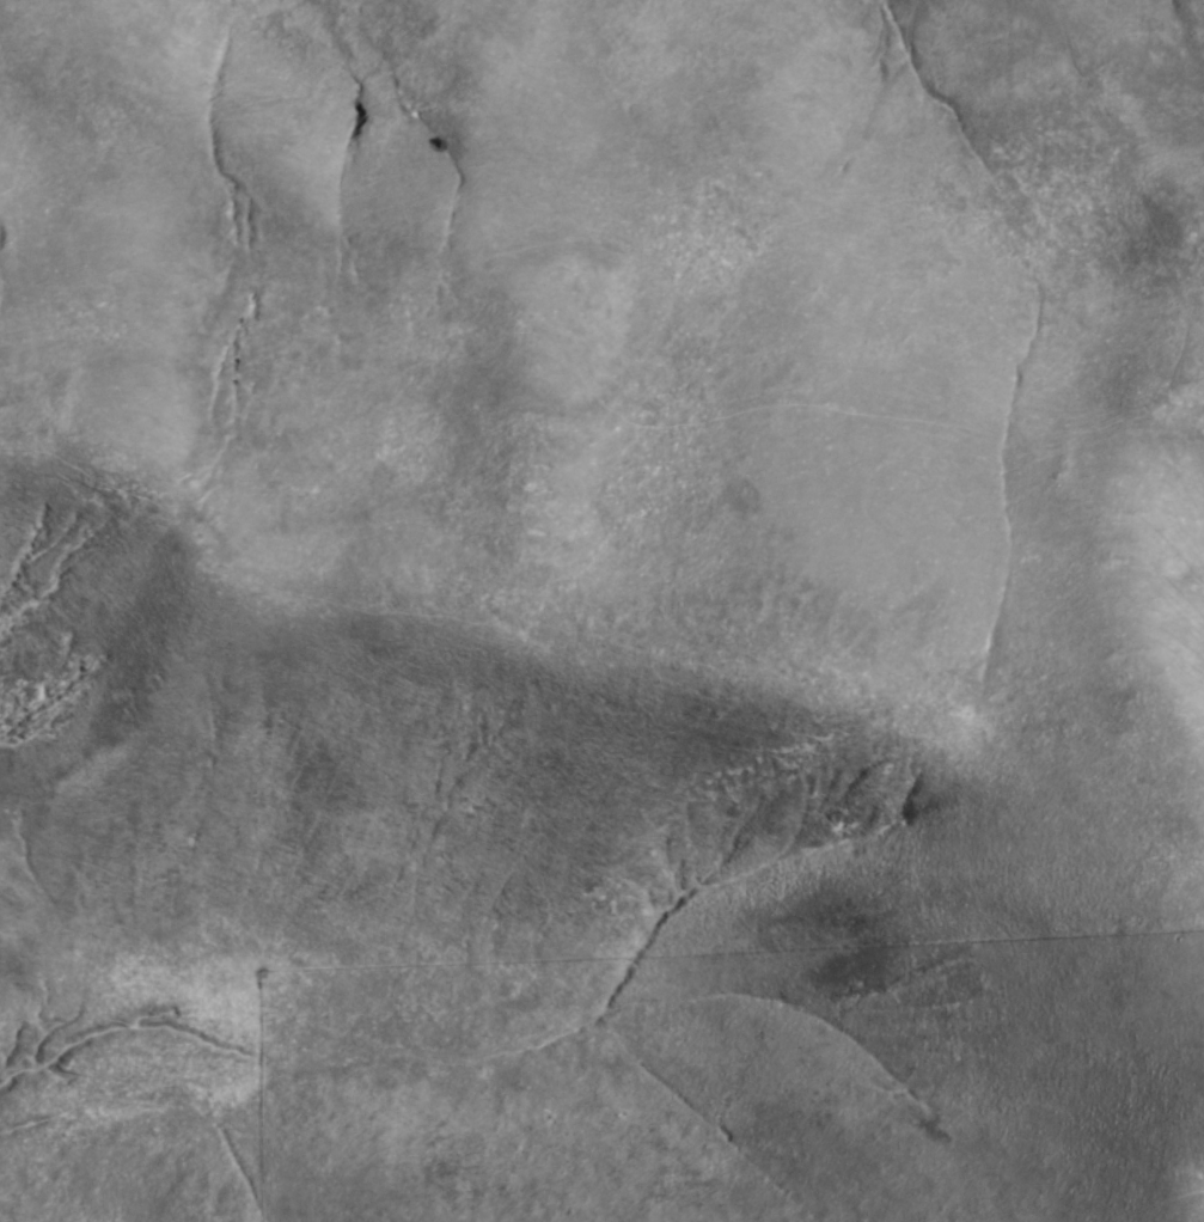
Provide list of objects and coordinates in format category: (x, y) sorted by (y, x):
road: (209, 7)

